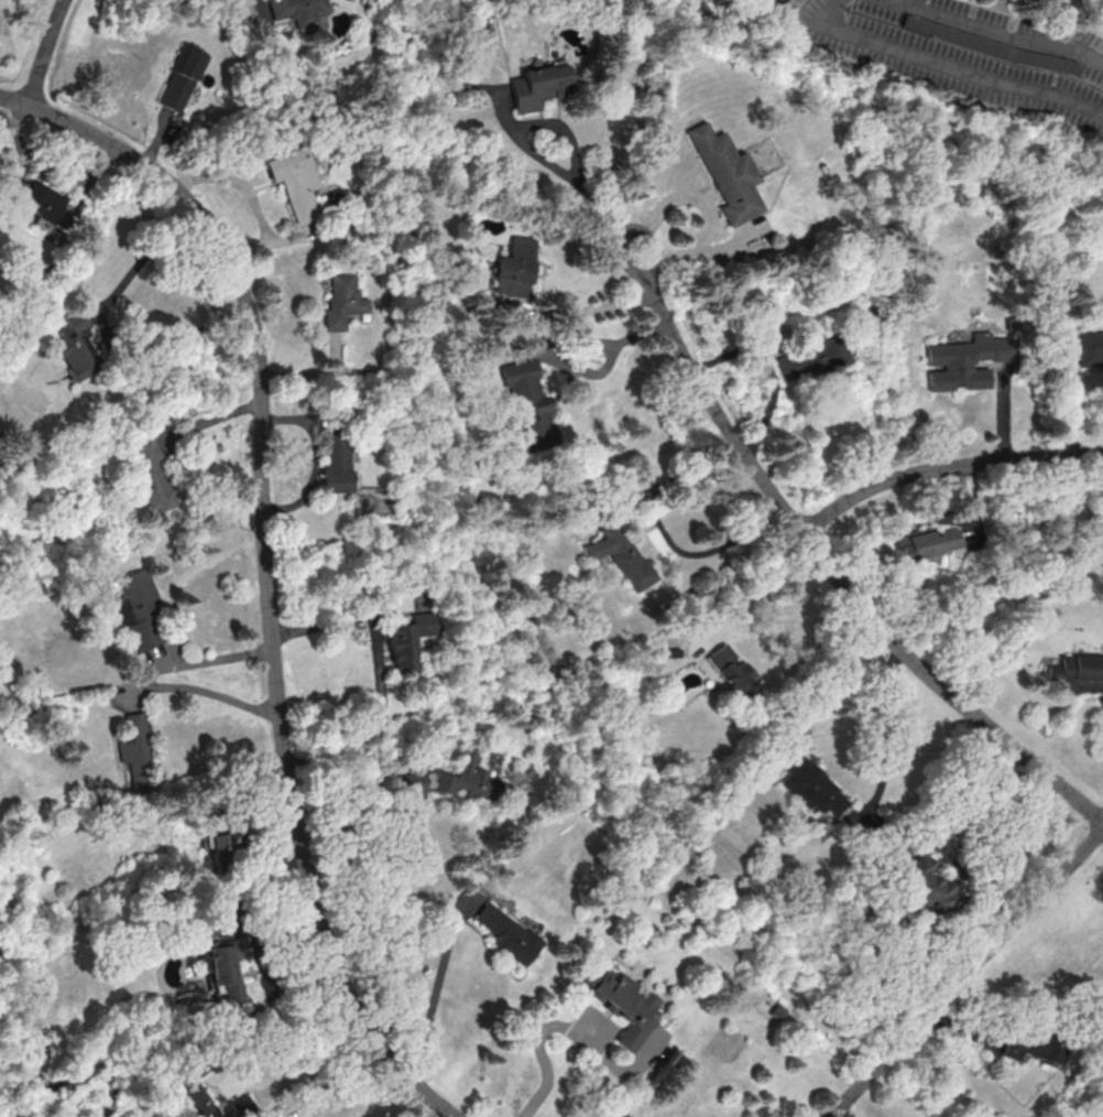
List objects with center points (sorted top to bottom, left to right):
parking lot: (796, 0)
road: (258, 1)
road: (927, 6)
building: (297, 11)
road: (971, 12)
road: (1055, 22)
road: (995, 33)
building: (989, 45)
road: (45, 51)
parking lot: (968, 52)
road: (944, 63)
building: (179, 76)
building: (537, 86)
road: (504, 112)
road: (566, 132)
building: (725, 173)
building: (293, 182)
building: (32, 198)
road: (256, 205)
road: (708, 209)
building: (513, 268)
building: (340, 301)
road: (596, 308)
road: (103, 328)
building: (75, 346)
building: (1089, 348)
building: (810, 358)
road: (613, 359)
building: (963, 360)
road: (771, 372)
building: (529, 404)
building: (335, 463)
road: (943, 465)
building: (149, 474)
building: (488, 499)
road: (665, 532)
building: (927, 542)
building: (620, 555)
road: (826, 566)
road: (263, 567)
building: (135, 609)
building: (407, 640)
building: (731, 670)
building: (1078, 673)
road: (379, 674)
road: (146, 686)
road: (886, 728)
building: (134, 752)
building: (449, 781)
building: (813, 788)
road: (976, 805)
road: (360, 816)
building: (218, 847)
building: (925, 883)
building: (509, 934)
building: (221, 967)
road: (967, 974)
road: (436, 997)
building: (624, 1002)
building: (1033, 1048)
road: (544, 1061)
river: (40, 1062)
road: (338, 1084)
building: (192, 1091)
building: (241, 1105)

